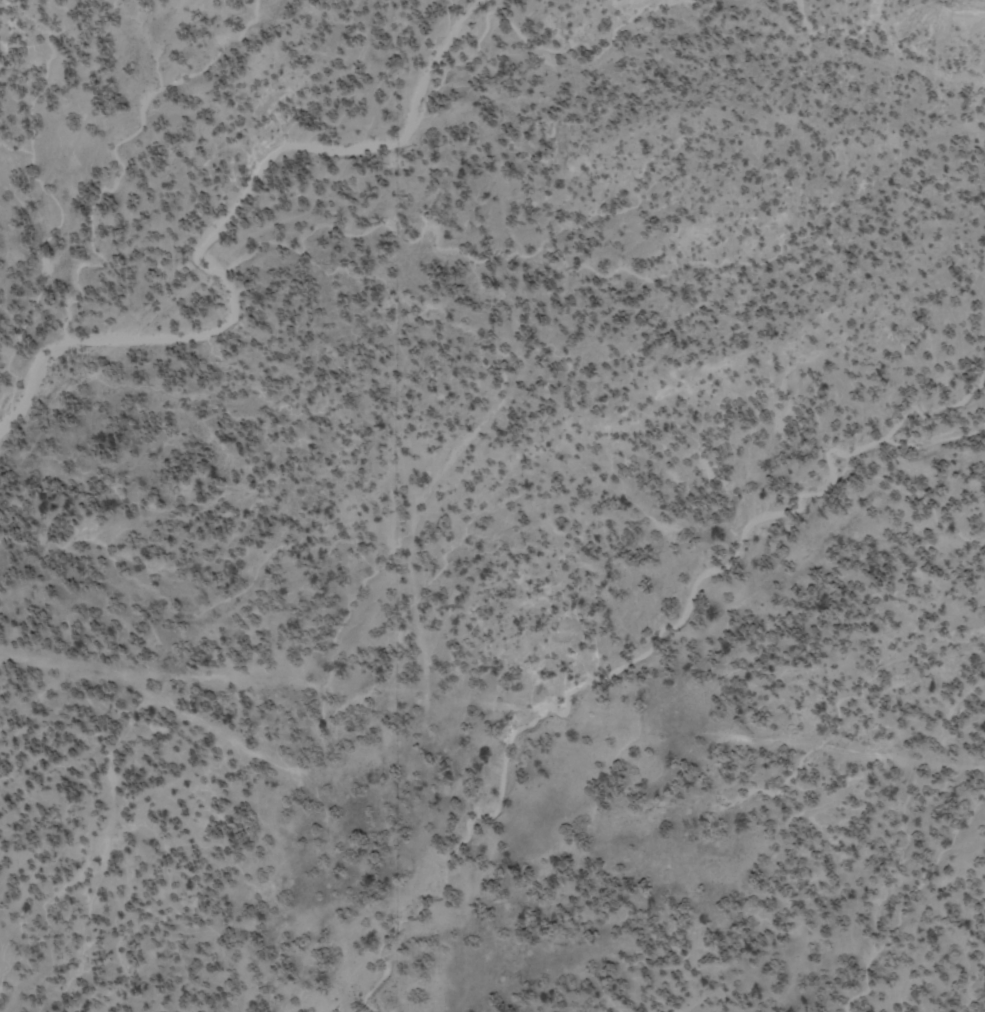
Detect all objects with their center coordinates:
road: (463, 354)
road: (492, 735)

